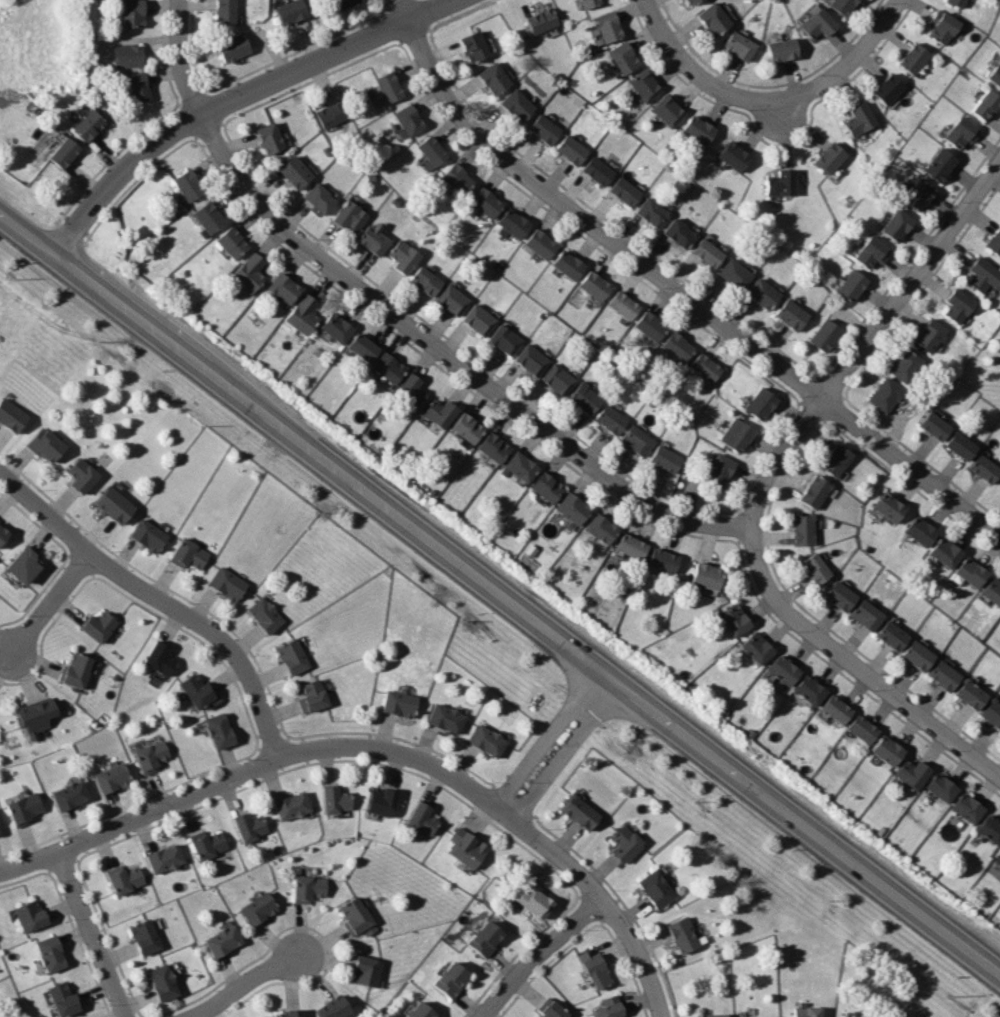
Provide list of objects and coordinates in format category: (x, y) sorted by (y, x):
building: (688, 1)
building: (347, 2)
building: (586, 2)
building: (954, 2)
building: (836, 5)
road: (409, 9)
building: (290, 10)
building: (225, 11)
building: (133, 13)
building: (710, 17)
building: (540, 19)
building: (813, 22)
building: (605, 24)
building: (938, 24)
building: (736, 43)
building: (475, 45)
building: (234, 46)
building: (778, 48)
building: (128, 55)
building: (621, 55)
building: (909, 55)
road: (184, 58)
road: (854, 62)
road: (700, 74)
building: (996, 74)
building: (495, 77)
building: (642, 83)
building: (138, 85)
building: (390, 86)
road: (767, 86)
building: (884, 86)
road: (231, 99)
building: (518, 104)
building: (986, 104)
building: (666, 108)
road: (786, 108)
building: (333, 113)
building: (856, 118)
building: (410, 119)
building: (88, 124)
building: (696, 127)
building: (545, 128)
building: (961, 132)
building: (270, 138)
road: (772, 145)
building: (571, 149)
building: (433, 150)
building: (63, 151)
building: (730, 154)
building: (825, 155)
building: (940, 164)
building: (598, 170)
building: (295, 171)
building: (458, 178)
building: (778, 181)
building: (187, 184)
building: (625, 190)
building: (919, 193)
building: (319, 198)
building: (486, 201)
building: (652, 211)
building: (349, 216)
building: (208, 217)
building: (514, 223)
building: (897, 224)
building: (679, 232)
building: (373, 239)
building: (994, 240)
building: (231, 241)
building: (540, 243)
building: (707, 252)
building: (871, 252)
building: (402, 256)
building: (568, 264)
building: (248, 272)
building: (734, 273)
building: (983, 274)
building: (425, 280)
building: (594, 284)
building: (851, 284)
building: (283, 287)
building: (761, 293)
road: (685, 294)
building: (451, 299)
building: (622, 303)
building: (957, 305)
building: (302, 313)
building: (790, 314)
building: (477, 319)
building: (649, 325)
building: (336, 326)
building: (824, 334)
building: (929, 334)
building: (504, 338)
road: (867, 341)
building: (676, 345)
building: (362, 346)
building: (530, 358)
road: (453, 359)
building: (905, 365)
building: (388, 366)
building: (705, 366)
building: (556, 377)
building: (410, 388)
building: (884, 394)
building: (584, 397)
building: (760, 403)
building: (440, 411)
building: (11, 414)
building: (609, 418)
building: (934, 425)
building: (467, 426)
building: (735, 434)
building: (635, 439)
building: (46, 444)
building: (960, 445)
building: (493, 446)
building: (663, 458)
building: (835, 459)
building: (520, 465)
building: (986, 468)
building: (718, 469)
building: (82, 474)
building: (546, 486)
building: (813, 491)
building: (113, 504)
building: (889, 506)
building: (572, 508)
building: (600, 527)
building: (802, 529)
building: (921, 530)
building: (4, 531)
building: (149, 535)
building: (630, 546)
building: (947, 551)
building: (188, 554)
building: (662, 559)
building: (25, 565)
building: (814, 569)
building: (973, 571)
building: (706, 575)
building: (228, 583)
building: (993, 589)
building: (840, 594)
road: (500, 597)
road: (162, 601)
road: (53, 604)
building: (265, 614)
building: (867, 615)
building: (734, 619)
building: (99, 626)
building: (893, 635)
building: (756, 647)
building: (919, 655)
building: (293, 656)
building: (160, 657)
road: (854, 667)
building: (783, 669)
building: (78, 670)
building: (945, 674)
building: (198, 689)
building: (809, 690)
building: (972, 694)
building: (314, 696)
building: (400, 703)
building: (836, 708)
building: (993, 712)
building: (38, 715)
building: (447, 717)
building: (863, 728)
building: (221, 730)
building: (488, 739)
road: (562, 748)
building: (888, 749)
road: (382, 750)
building: (152, 754)
building: (914, 772)
building: (113, 776)
building: (943, 787)
building: (70, 794)
building: (337, 799)
building: (383, 800)
building: (292, 805)
building: (24, 807)
building: (968, 807)
building: (581, 811)
building: (423, 817)
building: (250, 826)
building: (991, 828)
building: (625, 842)
building: (210, 844)
building: (468, 847)
building: (165, 858)
building: (998, 858)
building: (125, 879)
building: (311, 888)
building: (657, 888)
building: (536, 900)
building: (259, 908)
building: (30, 915)
building: (356, 915)
road: (93, 934)
building: (683, 934)
building: (145, 937)
building: (486, 937)
building: (224, 941)
building: (51, 953)
road: (545, 962)
building: (596, 968)
building: (367, 970)
building: (452, 979)
building: (164, 982)
road: (243, 984)
building: (63, 999)
building: (609, 1007)
building: (333, 1008)
building: (553, 1010)
building: (421, 1011)
building: (804, 1011)
building: (290, 1013)
building: (710, 1015)
building: (853, 1015)
building: (757, 1016)

